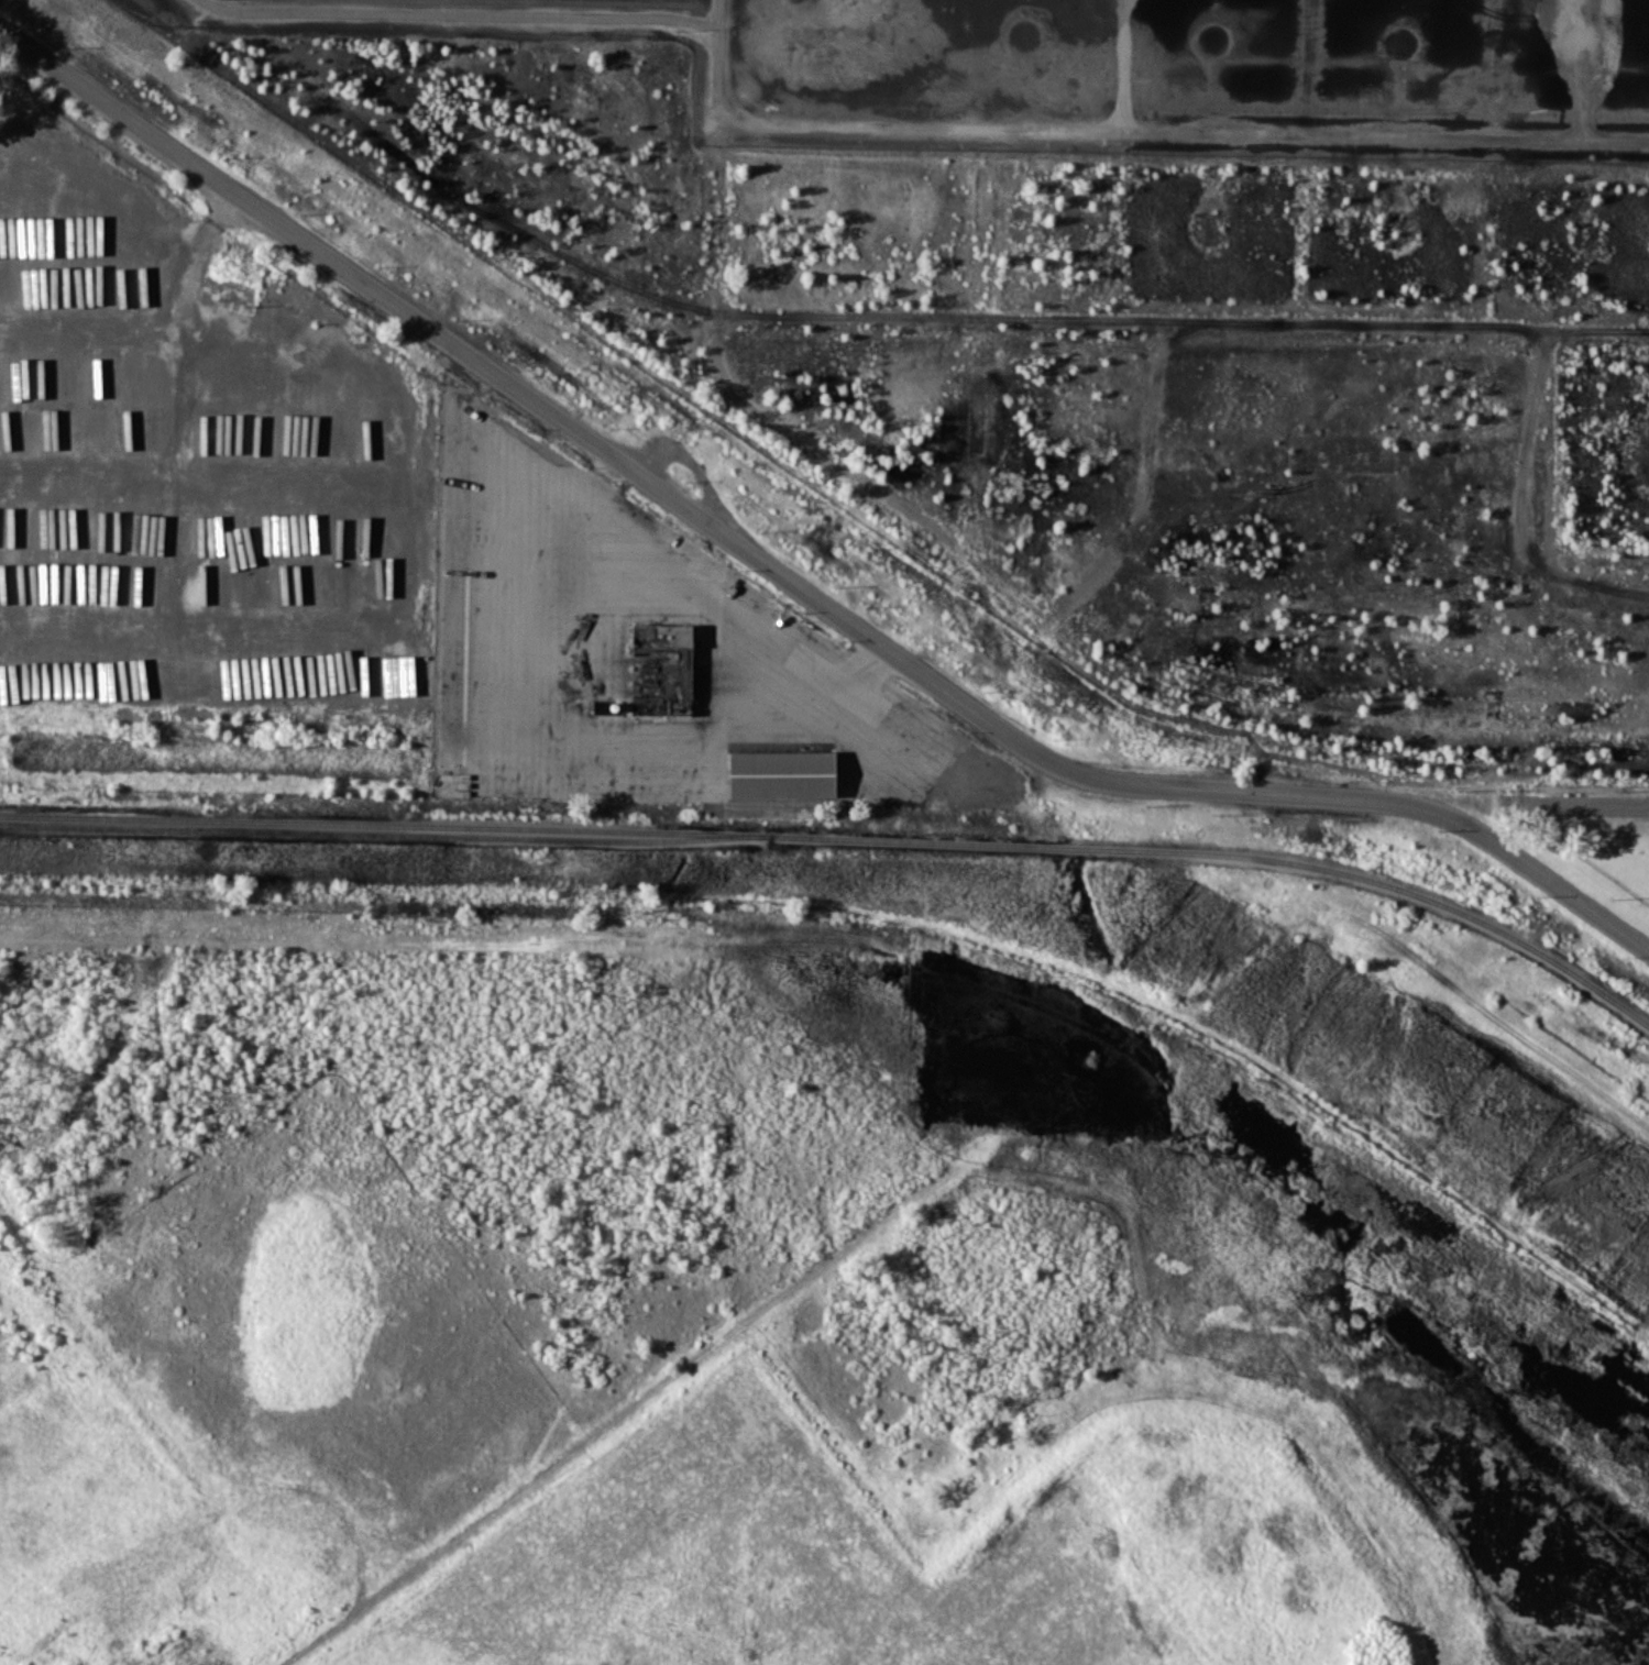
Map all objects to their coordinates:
road: (198, 254)
road: (85, 320)
road: (590, 473)
road: (655, 551)
road: (789, 582)
road: (418, 593)
building: (661, 669)
road: (838, 681)
building: (781, 773)
railway: (385, 835)
railway: (844, 837)
road: (726, 1335)
landfill: (688, 1543)

